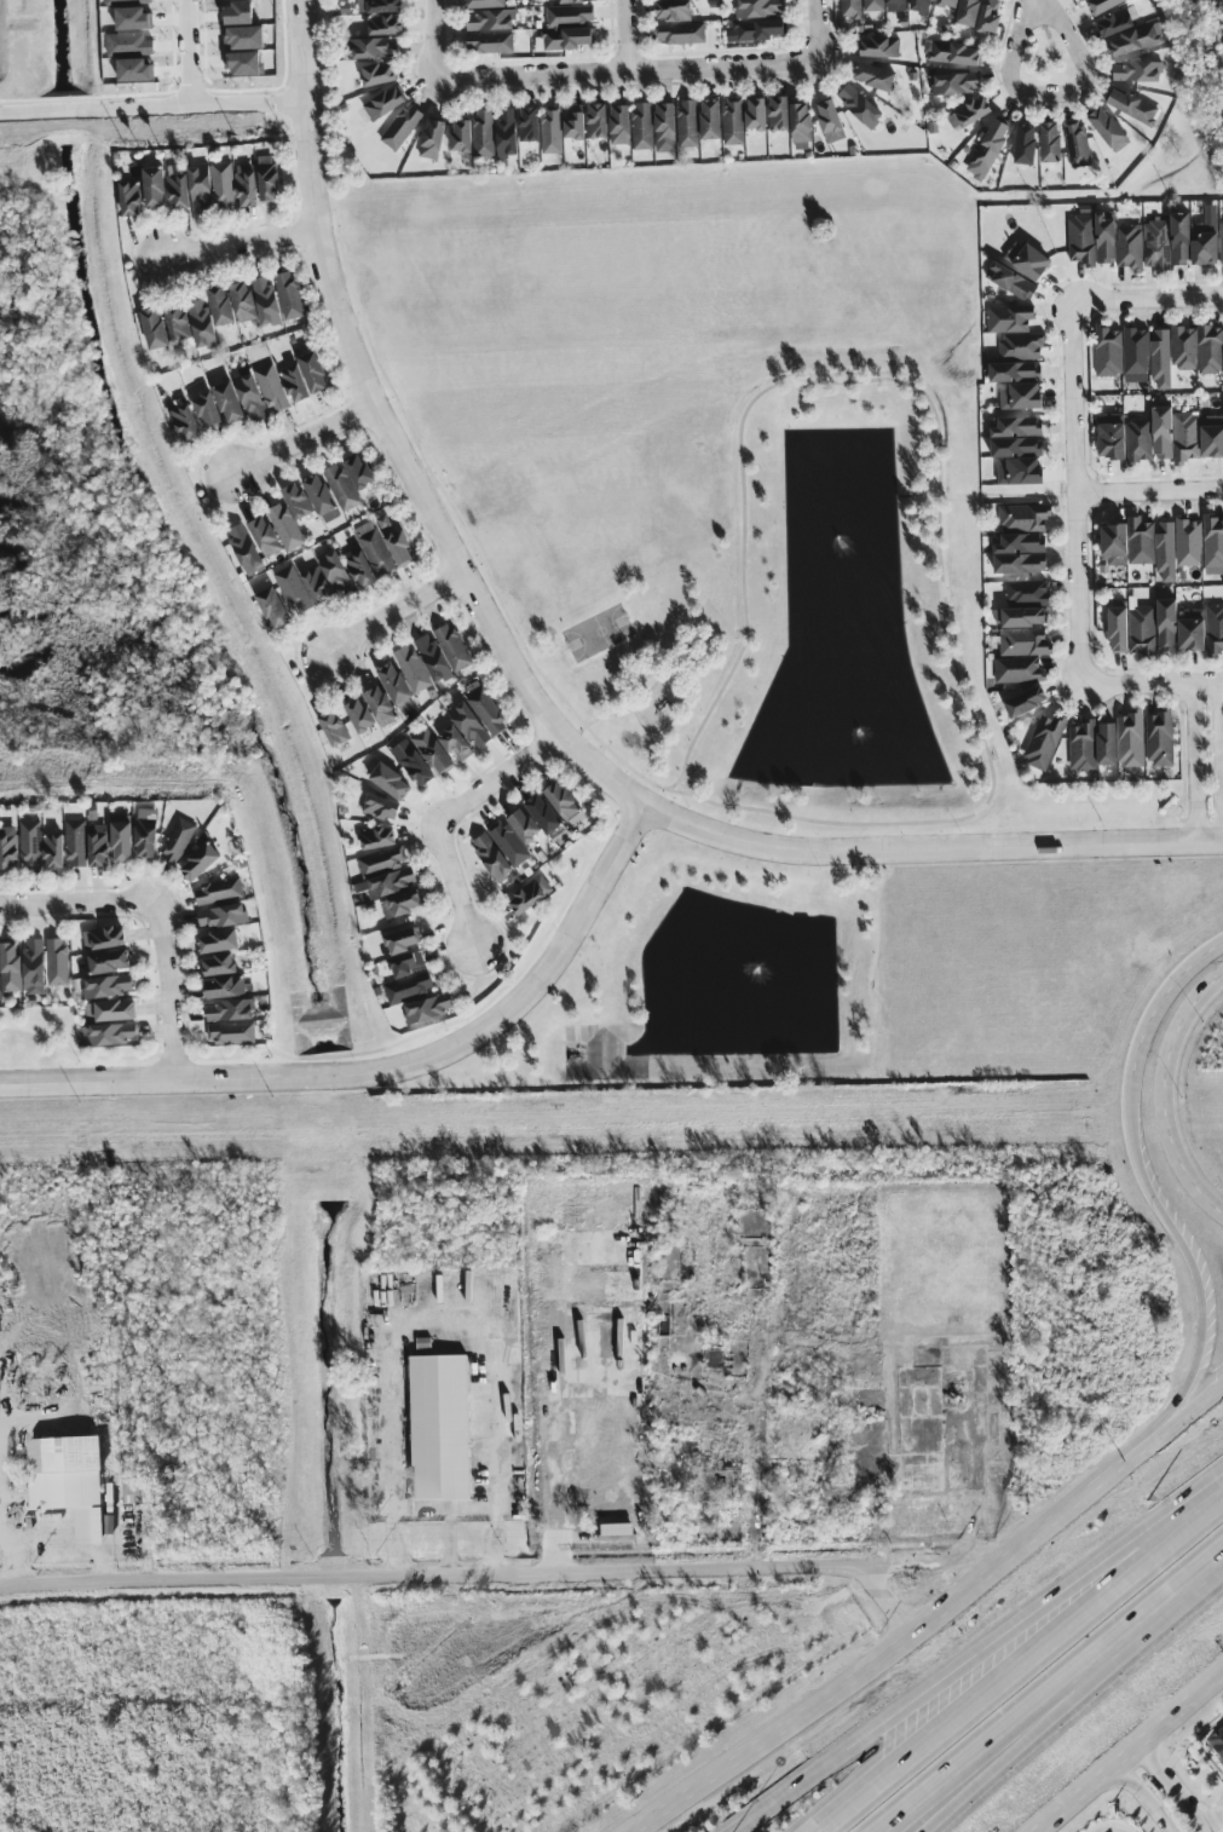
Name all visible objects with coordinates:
building: (575, 0)
building: (484, 2)
building: (946, 2)
building: (379, 5)
building: (873, 5)
building: (894, 5)
building: (1101, 5)
building: (919, 6)
building: (760, 7)
building: (850, 8)
building: (673, 10)
building: (967, 12)
building: (570, 13)
building: (988, 16)
building: (490, 19)
building: (1117, 21)
building: (385, 24)
building: (757, 29)
road: (815, 29)
building: (681, 33)
road: (625, 34)
building: (566, 38)
building: (1136, 39)
road: (432, 40)
building: (489, 41)
building: (878, 46)
building: (374, 47)
building: (951, 52)
road: (191, 54)
road: (629, 68)
building: (1136, 70)
building: (377, 73)
building: (873, 75)
building: (956, 82)
road: (1049, 97)
building: (383, 103)
building: (859, 104)
building: (1130, 104)
road: (154, 110)
building: (755, 113)
building: (778, 113)
building: (968, 113)
building: (710, 119)
building: (596, 120)
building: (733, 120)
building: (829, 120)
building: (573, 121)
building: (800, 121)
building: (687, 122)
building: (529, 123)
building: (619, 123)
building: (642, 125)
building: (664, 126)
building: (402, 127)
building: (550, 128)
building: (1108, 128)
building: (483, 132)
building: (506, 133)
building: (461, 134)
building: (432, 138)
building: (1049, 142)
building: (1077, 142)
building: (1025, 143)
building: (987, 149)
building: (267, 178)
building: (223, 183)
building: (246, 184)
building: (152, 186)
building: (198, 189)
building: (178, 191)
building: (131, 197)
building: (1205, 237)
building: (1090, 238)
building: (1179, 238)
building: (1221, 241)
building: (1156, 243)
road: (241, 244)
building: (1129, 246)
building: (1026, 259)
building: (1010, 281)
building: (288, 294)
road: (1148, 298)
building: (266, 300)
building: (243, 301)
building: (220, 304)
building: (178, 321)
building: (201, 323)
building: (154, 328)
building: (1015, 330)
building: (1198, 347)
building: (1107, 351)
building: (1135, 353)
building: (1160, 357)
building: (312, 370)
building: (1014, 370)
building: (294, 384)
building: (272, 387)
building: (1020, 396)
building: (250, 397)
building: (227, 402)
building: (207, 409)
building: (185, 422)
building: (1015, 426)
road: (302, 434)
building: (1110, 434)
building: (1175, 434)
building: (1211, 436)
building: (1138, 438)
building: (1017, 459)
building: (358, 471)
building: (342, 486)
road: (1150, 486)
road: (1077, 488)
building: (318, 492)
building: (296, 500)
building: (1023, 517)
building: (285, 526)
building: (264, 535)
building: (1212, 540)
building: (394, 541)
building: (1127, 541)
building: (1188, 541)
building: (243, 547)
building: (375, 547)
building: (1165, 549)
building: (1019, 552)
building: (359, 568)
building: (335, 572)
building: (316, 584)
building: (293, 588)
building: (1027, 590)
building: (272, 607)
road: (394, 612)
building: (1021, 616)
building: (1166, 624)
building: (1215, 627)
building: (1118, 628)
building: (1190, 628)
building: (1142, 629)
building: (1023, 641)
building: (452, 646)
building: (432, 657)
road: (704, 658)
building: (413, 667)
building: (1016, 669)
building: (393, 682)
road: (1153, 682)
road: (657, 691)
road: (531, 696)
building: (1025, 701)
building: (380, 704)
building: (488, 710)
building: (358, 714)
building: (468, 724)
building: (333, 727)
building: (1159, 738)
building: (1131, 739)
building: (1044, 741)
building: (455, 742)
building: (1106, 743)
building: (1081, 747)
building: (432, 750)
road: (1222, 761)
building: (411, 762)
road: (1192, 762)
building: (390, 780)
building: (564, 802)
building: (380, 806)
building: (542, 813)
road: (444, 816)
road: (971, 819)
building: (523, 824)
building: (145, 831)
building: (377, 836)
building: (121, 841)
building: (177, 841)
building: (76, 842)
building: (30, 843)
building: (98, 845)
building: (7, 847)
building: (53, 849)
building: (500, 849)
building: (382, 859)
building: (198, 862)
building: (387, 882)
building: (218, 891)
building: (530, 894)
road: (79, 899)
building: (402, 903)
building: (221, 915)
building: (103, 937)
building: (402, 939)
building: (218, 940)
building: (57, 961)
building: (109, 961)
building: (219, 963)
building: (405, 963)
building: (33, 967)
building: (10, 968)
building: (108, 985)
building: (224, 986)
building: (408, 986)
road: (167, 989)
road: (1158, 991)
building: (428, 1007)
building: (230, 1009)
building: (110, 1010)
building: (230, 1032)
building: (109, 1033)
road: (383, 1067)
road: (1164, 1094)
road: (703, 1225)
road: (1183, 1252)
road: (445, 1312)
road: (908, 1342)
road: (1185, 1406)
building: (439, 1428)
building: (60, 1474)
road: (450, 1510)
road: (22, 1554)
road: (108, 1554)
road: (434, 1575)
road: (890, 1603)
road: (1153, 1615)
road: (896, 1642)
road: (979, 1653)
road: (1021, 1664)
building: (1216, 1742)
road: (986, 1751)
road: (1005, 1751)
road: (1135, 1755)
road: (1172, 1790)
road: (1141, 1803)
road: (1210, 1820)

